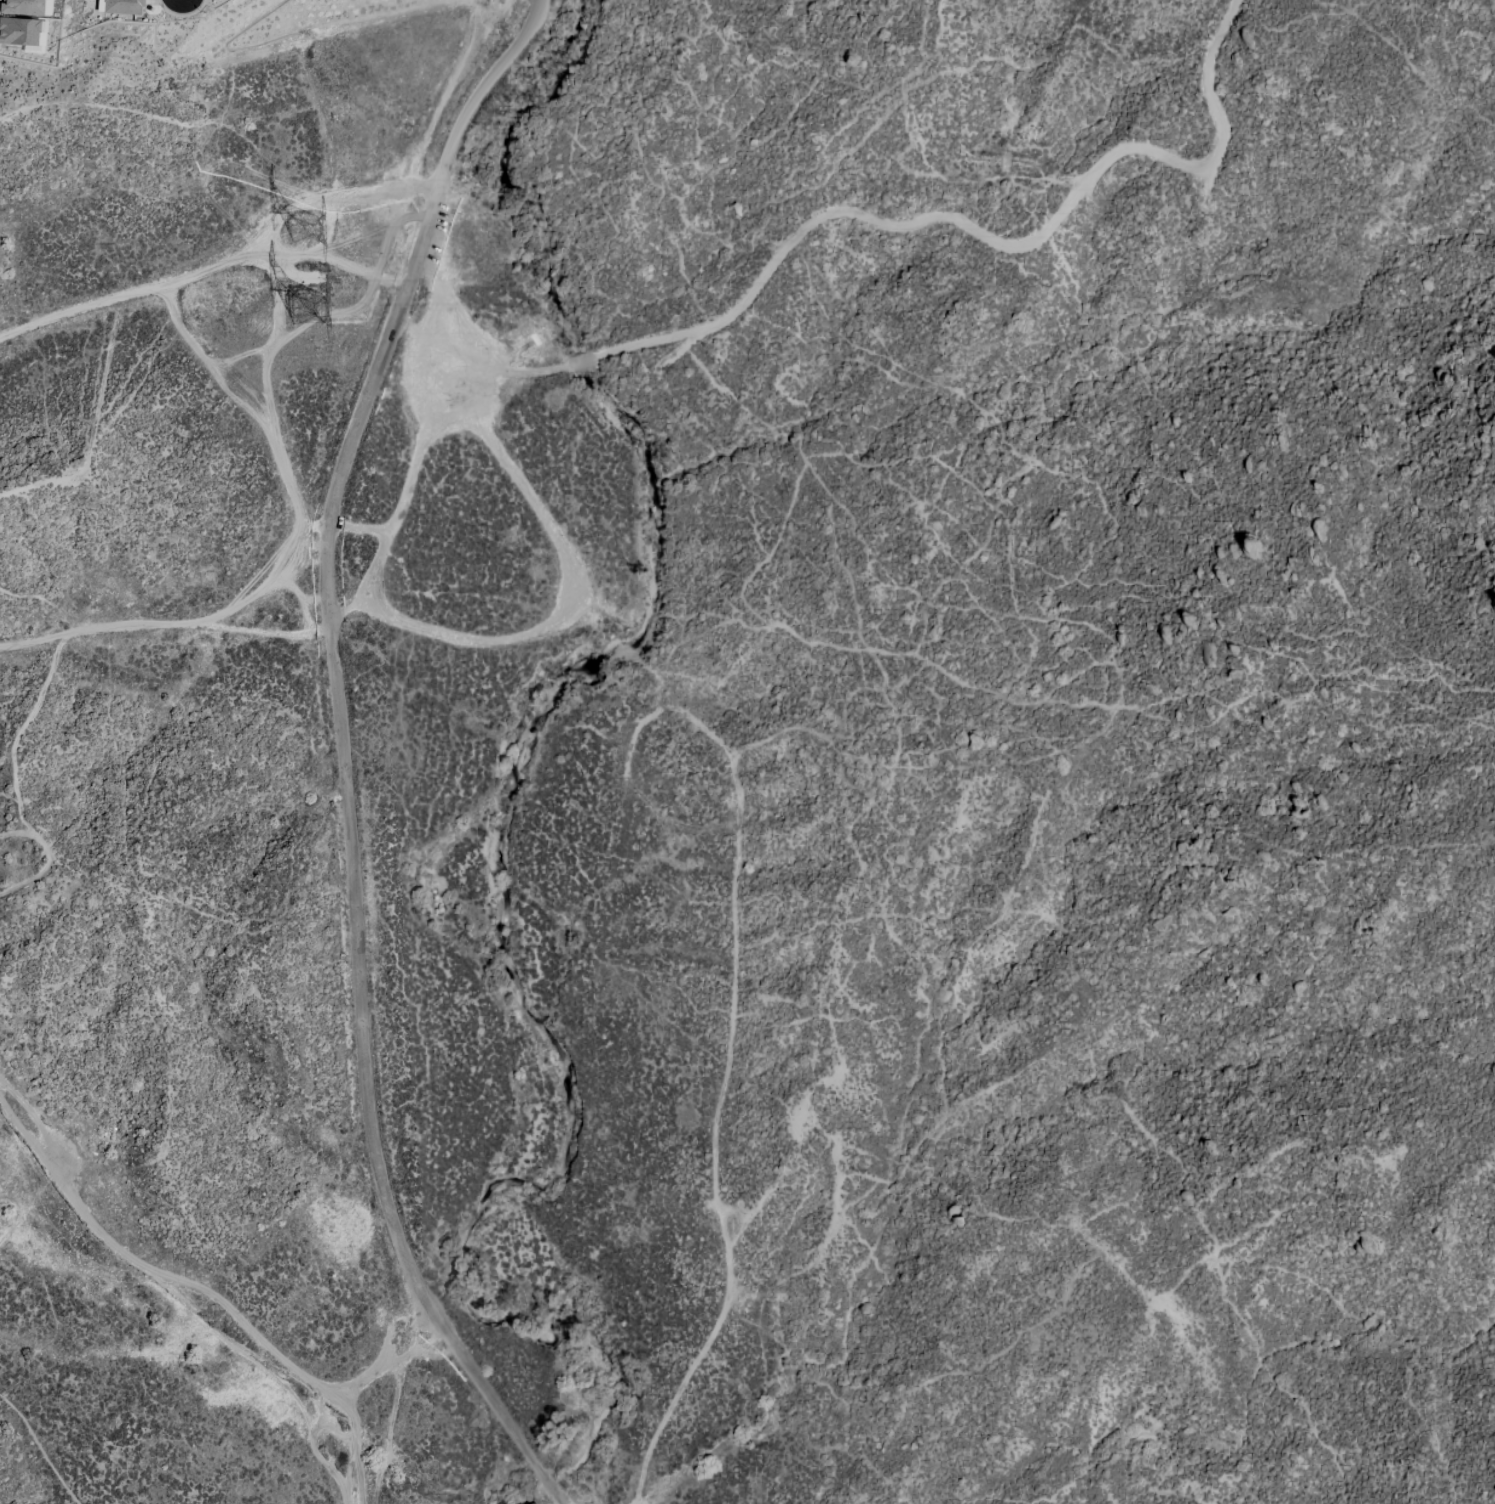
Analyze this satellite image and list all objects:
building: (21, 7)
building: (46, 7)
building: (121, 7)
building: (18, 31)
road: (943, 216)
power tower: (309, 227)
power tower: (300, 308)
road: (344, 754)
road: (348, 1388)

